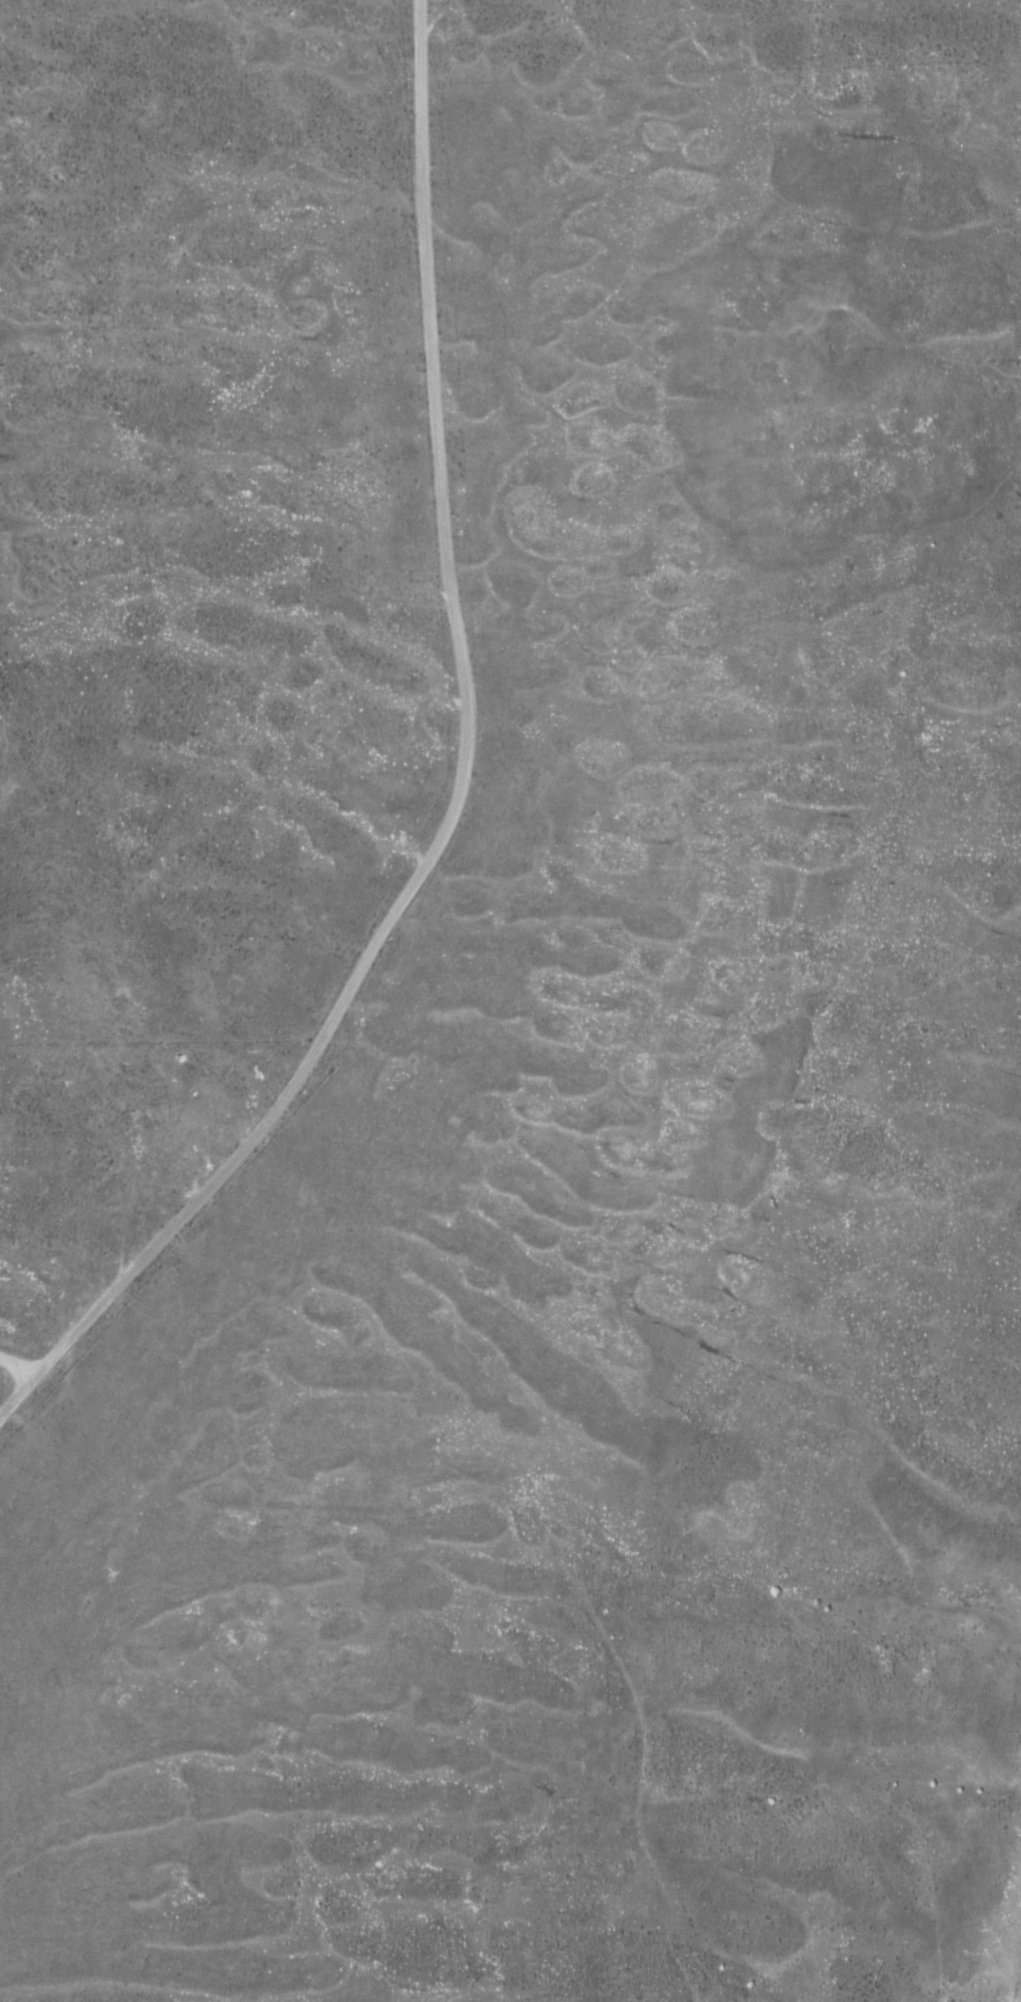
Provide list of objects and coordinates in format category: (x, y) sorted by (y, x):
road: (459, 782)
road: (17, 1363)

